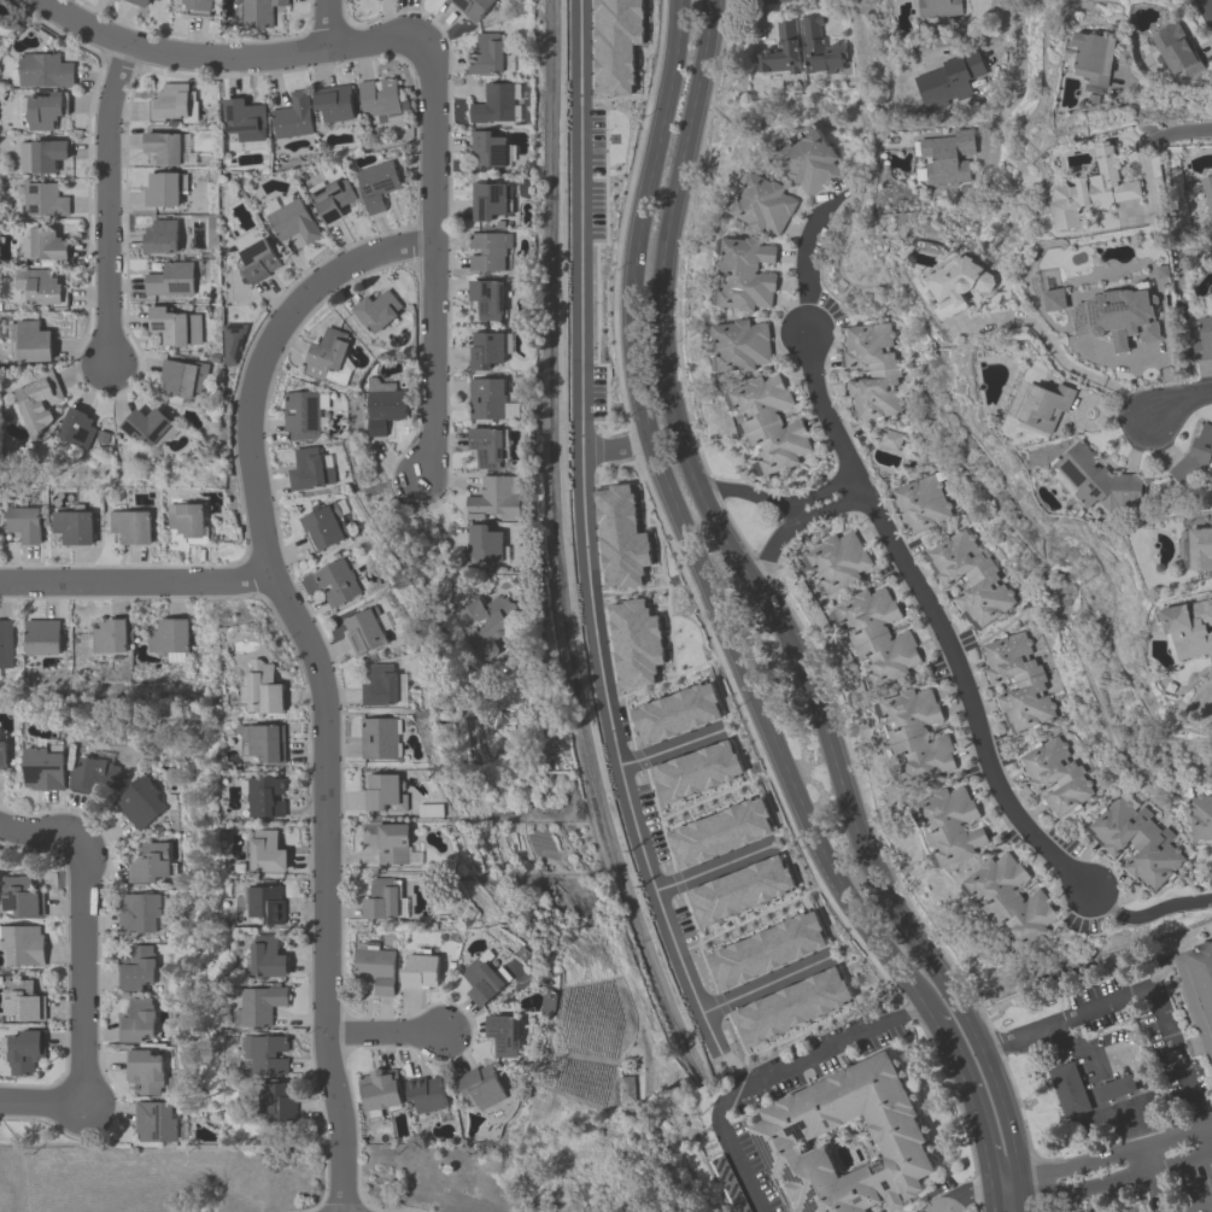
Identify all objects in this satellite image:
building: (158, 0)
building: (140, 2)
building: (198, 6)
road: (1208, 6)
building: (472, 7)
building: (937, 7)
building: (259, 12)
road: (327, 23)
road: (1006, 31)
building: (816, 46)
building: (781, 48)
building: (1176, 48)
building: (486, 53)
building: (1094, 55)
road: (233, 57)
building: (43, 70)
building: (947, 78)
road: (1020, 78)
building: (379, 99)
building: (333, 101)
building: (172, 103)
building: (496, 103)
building: (43, 110)
building: (292, 115)
building: (244, 118)
road: (1150, 141)
building: (163, 146)
building: (490, 150)
building: (41, 154)
building: (945, 157)
building: (810, 159)
building: (377, 183)
building: (163, 187)
building: (1091, 189)
building: (1207, 193)
building: (43, 198)
building: (332, 198)
building: (488, 199)
building: (762, 201)
road: (107, 204)
building: (291, 218)
building: (160, 236)
building: (43, 244)
building: (488, 250)
road: (806, 256)
building: (258, 260)
road: (433, 262)
building: (744, 274)
building: (170, 279)
building: (960, 280)
building: (41, 286)
building: (488, 297)
building: (1054, 299)
building: (376, 310)
building: (1118, 315)
building: (175, 326)
building: (1202, 339)
building: (29, 341)
building: (232, 341)
building: (740, 344)
building: (486, 349)
building: (329, 357)
building: (872, 369)
building: (182, 376)
building: (486, 397)
building: (39, 399)
road: (1178, 399)
building: (382, 404)
building: (1044, 405)
building: (304, 412)
building: (766, 423)
building: (147, 426)
building: (75, 432)
building: (889, 439)
building: (487, 446)
road: (615, 446)
building: (1195, 453)
building: (310, 469)
building: (1094, 478)
road: (825, 490)
road: (742, 491)
building: (493, 498)
building: (921, 503)
road: (796, 508)
building: (187, 517)
road: (795, 519)
building: (25, 522)
road: (684, 523)
building: (72, 525)
building: (131, 525)
building: (324, 525)
building: (620, 535)
road: (431, 541)
building: (484, 543)
road: (589, 543)
building: (1200, 548)
building: (838, 560)
building: (972, 574)
road: (133, 579)
building: (338, 581)
road: (774, 617)
road: (936, 617)
building: (486, 622)
building: (1189, 627)
building: (364, 630)
building: (110, 634)
building: (879, 634)
building: (41, 636)
building: (168, 636)
building: (636, 642)
building: (6, 643)
road: (316, 667)
building: (1019, 680)
building: (380, 685)
building: (260, 687)
building: (675, 712)
building: (379, 736)
building: (918, 736)
building: (263, 740)
building: (2, 753)
building: (43, 768)
building: (696, 771)
building: (1056, 774)
building: (94, 777)
building: (383, 792)
building: (265, 795)
building: (140, 801)
building: (429, 809)
building: (1201, 816)
building: (949, 822)
building: (719, 831)
building: (387, 841)
building: (1138, 841)
building: (267, 851)
building: (148, 862)
road: (703, 871)
building: (739, 888)
building: (22, 895)
building: (381, 897)
building: (1013, 898)
building: (267, 903)
building: (137, 912)
road: (1147, 912)
road: (82, 929)
building: (23, 944)
building: (766, 948)
building: (268, 956)
building: (375, 966)
building: (136, 968)
building: (420, 968)
building: (481, 980)
road: (761, 986)
building: (1196, 993)
road: (1137, 996)
building: (22, 1000)
building: (260, 1005)
building: (790, 1005)
building: (135, 1019)
building: (503, 1034)
road: (383, 1037)
building: (23, 1050)
building: (269, 1054)
building: (144, 1070)
road: (767, 1072)
building: (480, 1087)
road: (970, 1089)
building: (377, 1090)
building: (1083, 1090)
gas station: (1083, 1090)
building: (425, 1093)
building: (280, 1100)
road: (41, 1101)
building: (154, 1120)
road: (1211, 1136)
road: (1207, 1138)
building: (845, 1140)
road: (1146, 1158)
parking lot: (1178, 1183)
road: (1007, 1187)
road: (1155, 1190)
road: (967, 1194)
road: (994, 1200)
road: (1202, 1208)

